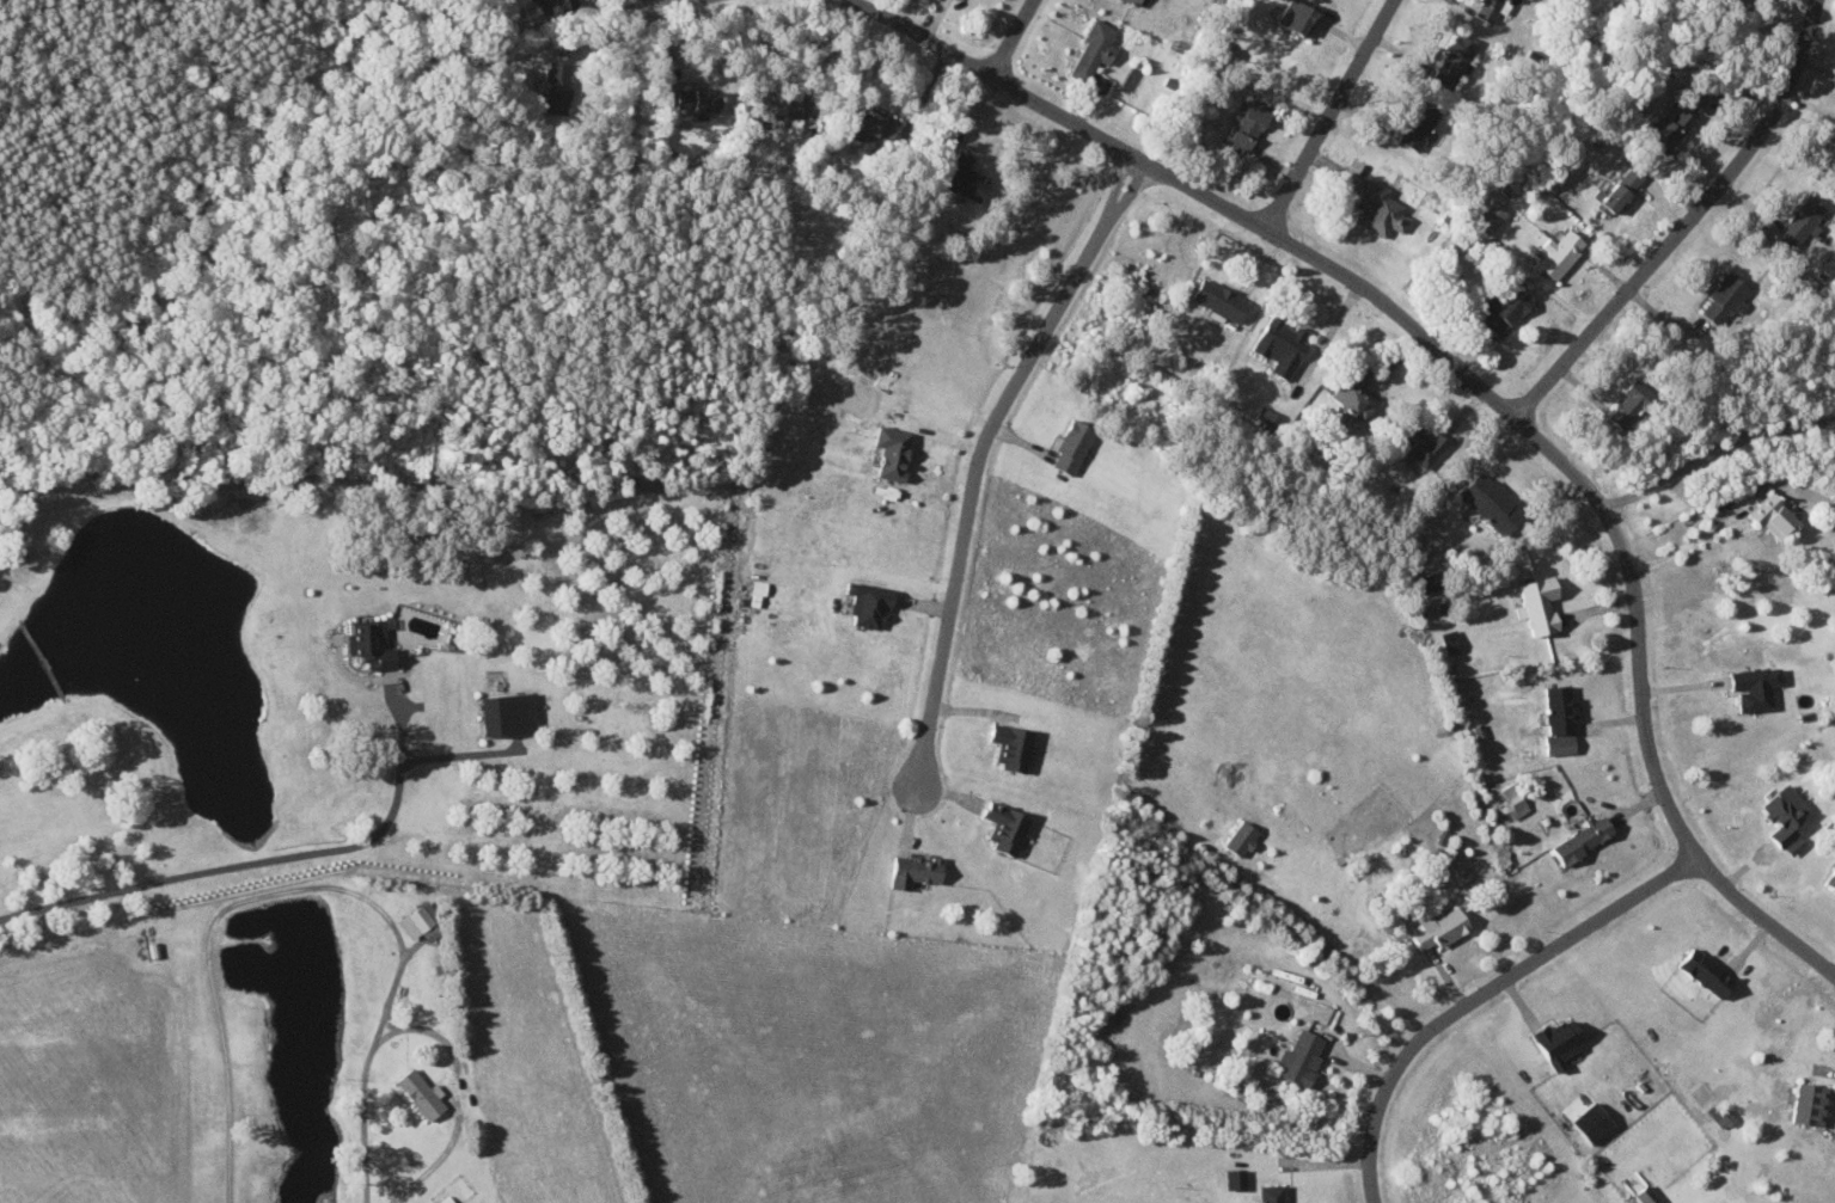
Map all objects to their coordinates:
road: (679, 0)
building: (1134, 1)
building: (553, 5)
building: (1487, 8)
building: (1298, 16)
road: (925, 33)
road: (1016, 36)
building: (1095, 49)
building: (1454, 61)
building: (557, 86)
building: (697, 99)
building: (782, 104)
road: (1329, 113)
building: (1418, 125)
building: (871, 127)
building: (1248, 127)
building: (1671, 129)
building: (965, 177)
building: (1632, 177)
building: (1611, 195)
building: (1382, 209)
building: (1492, 216)
road: (1688, 217)
building: (1803, 221)
building: (1561, 252)
building: (1725, 297)
building: (1221, 300)
building: (1504, 307)
building: (1282, 345)
road: (1469, 370)
building: (1354, 393)
building: (1632, 403)
building: (1424, 446)
building: (1072, 447)
road: (1717, 450)
building: (893, 452)
road: (980, 453)
building: (1493, 503)
building: (1773, 512)
road: (6, 581)
building: (1429, 583)
building: (869, 603)
building: (1540, 604)
building: (1452, 640)
building: (373, 645)
road: (43, 659)
building: (1756, 687)
building: (510, 714)
building: (1561, 719)
building: (1534, 729)
building: (1013, 747)
building: (1516, 799)
building: (1787, 817)
building: (1007, 828)
building: (1242, 839)
building: (1585, 839)
road: (253, 860)
building: (916, 871)
building: (1831, 879)
road: (308, 889)
road: (1768, 915)
building: (420, 919)
building: (1441, 928)
building: (1707, 972)
road: (1484, 996)
building: (1559, 1042)
building: (1302, 1057)
building: (421, 1093)
road: (458, 1101)
building: (1811, 1104)
building: (1725, 1118)
building: (1594, 1123)
building: (1237, 1179)
building: (1272, 1193)
building: (1647, 1195)

